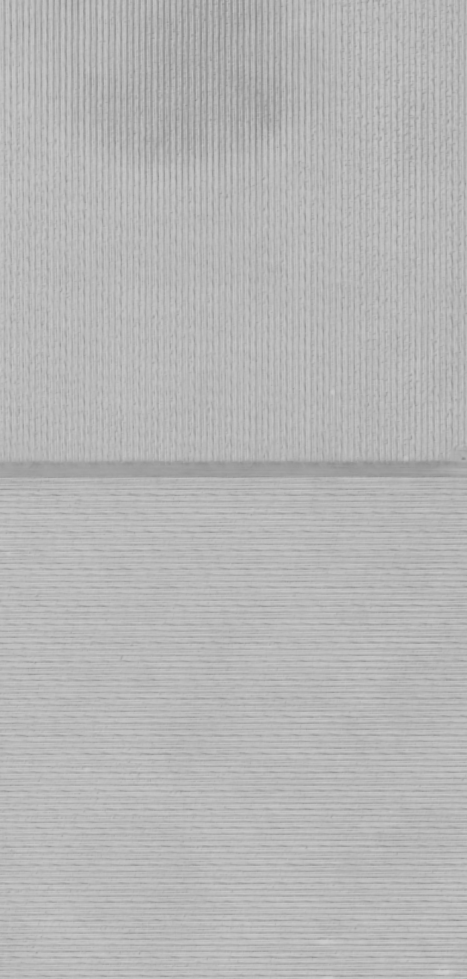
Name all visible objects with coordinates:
road: (233, 495)

